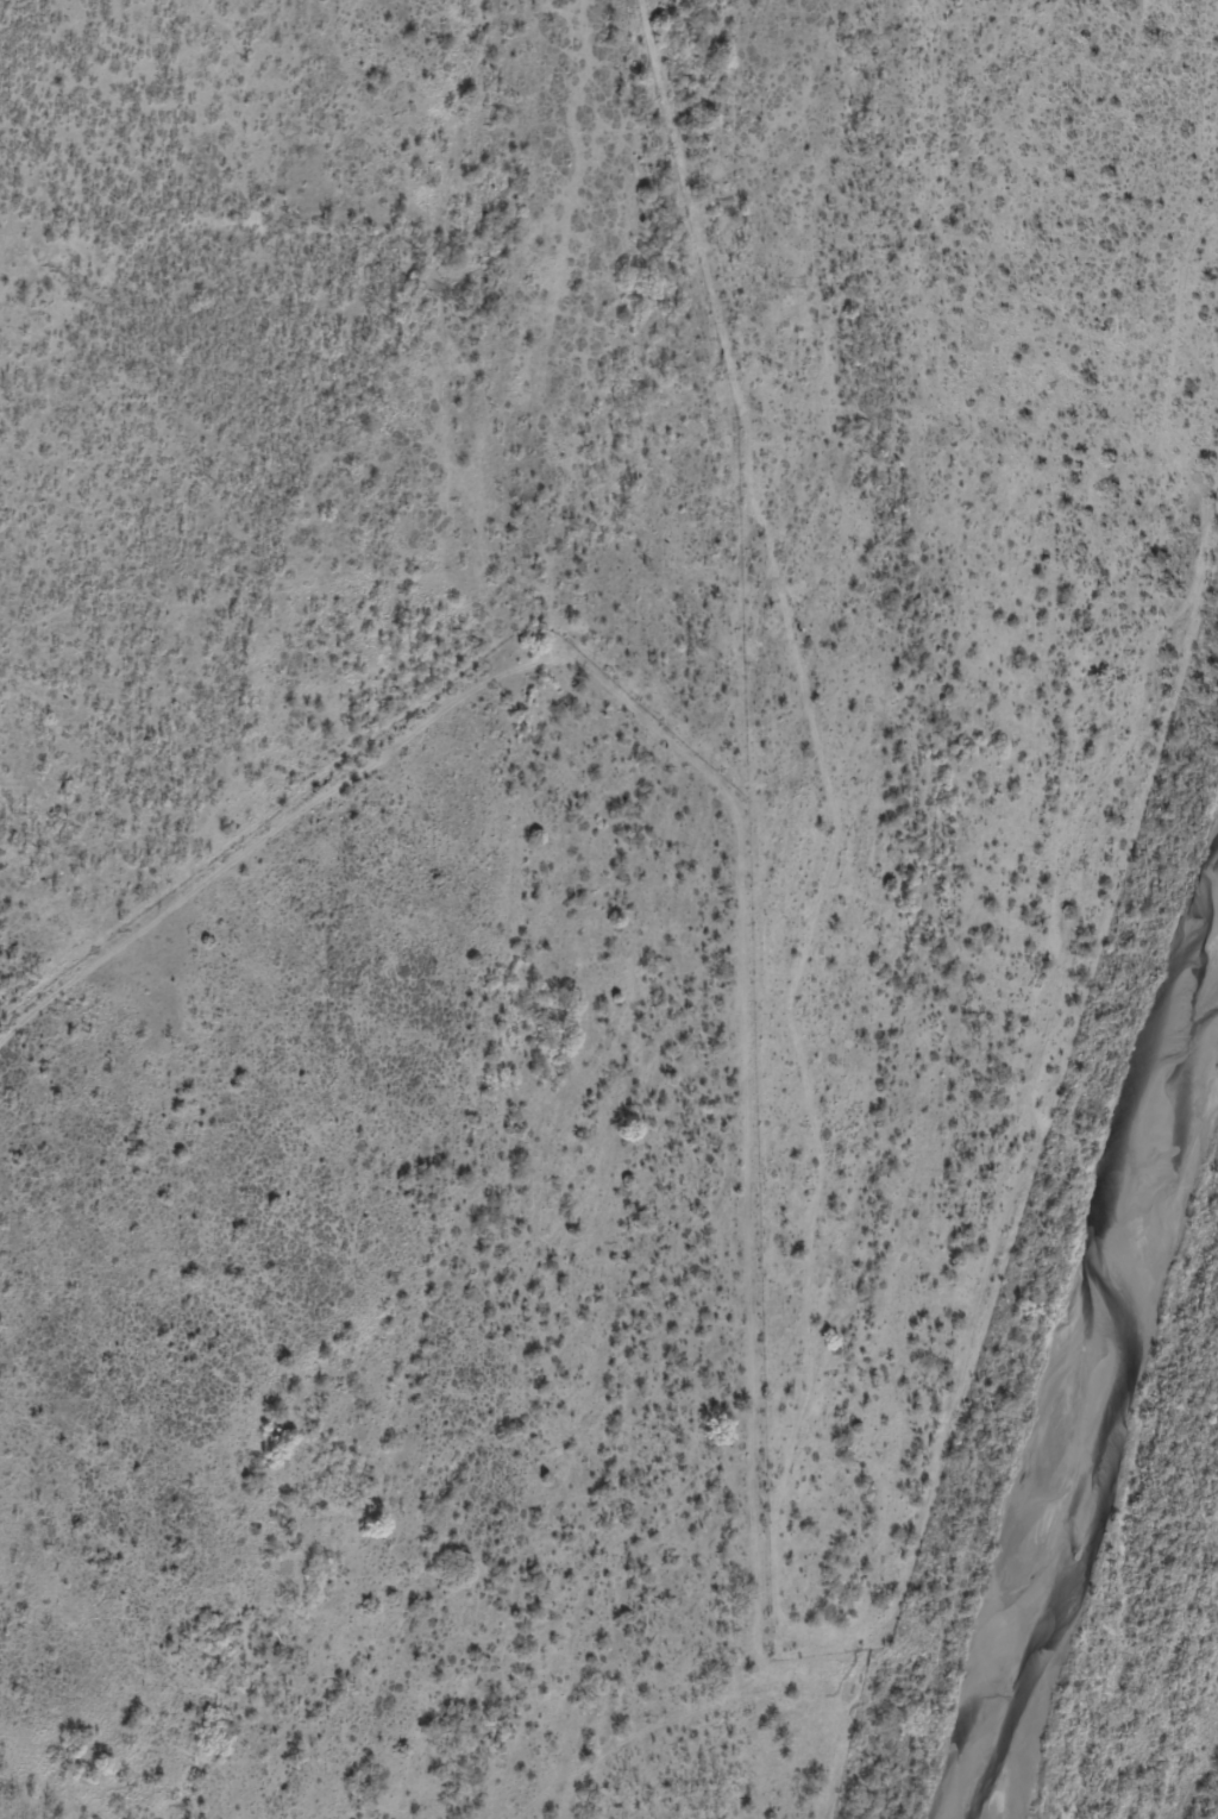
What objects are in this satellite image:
river: (1063, 1409)

